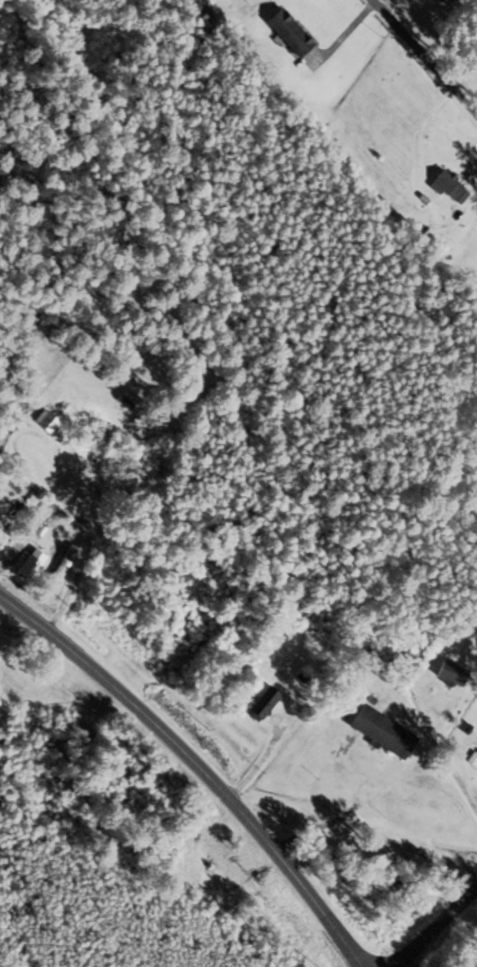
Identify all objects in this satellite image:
building: (451, 0)
road: (388, 4)
road: (345, 32)
building: (293, 33)
road: (427, 54)
building: (452, 187)
building: (50, 422)
building: (66, 563)
building: (34, 564)
building: (319, 632)
building: (455, 673)
building: (266, 704)
building: (385, 732)
road: (198, 769)
road: (443, 932)

